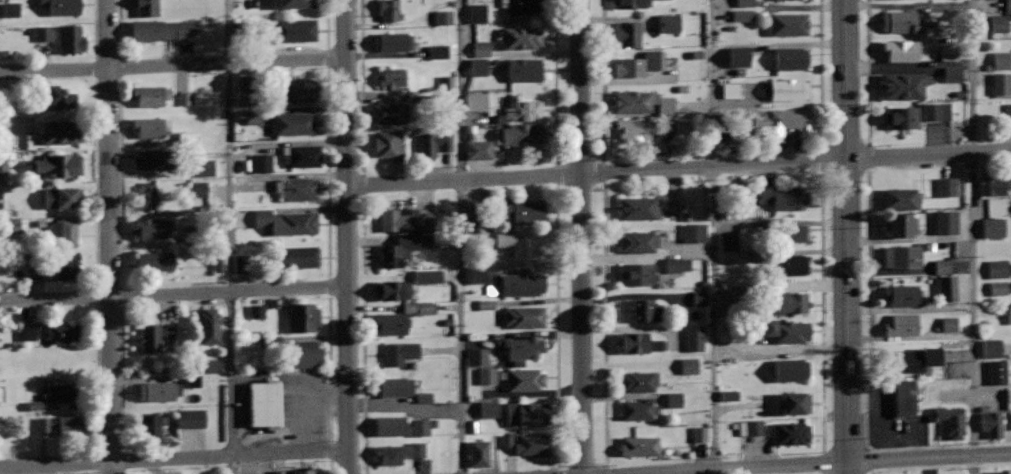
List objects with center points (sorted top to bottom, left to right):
building: (296, 3)
building: (628, 3)
building: (744, 3)
building: (1008, 5)
building: (146, 6)
building: (521, 6)
building: (63, 7)
building: (388, 9)
building: (10, 10)
building: (476, 13)
building: (742, 15)
building: (442, 18)
building: (901, 21)
building: (788, 23)
road: (325, 24)
building: (668, 24)
building: (998, 24)
road: (116, 28)
building: (164, 28)
road: (93, 29)
building: (295, 29)
building: (39, 33)
building: (628, 33)
building: (519, 37)
building: (72, 38)
building: (393, 41)
building: (480, 49)
building: (901, 49)
building: (437, 51)
building: (948, 53)
building: (738, 57)
building: (791, 58)
building: (1001, 60)
building: (640, 63)
road: (171, 65)
building: (477, 67)
building: (524, 69)
road: (866, 71)
road: (817, 72)
building: (951, 74)
building: (391, 77)
road: (601, 80)
road: (553, 82)
building: (446, 83)
building: (1001, 84)
building: (903, 86)
road: (360, 87)
building: (294, 88)
building: (789, 89)
building: (247, 90)
building: (730, 91)
building: (148, 94)
building: (60, 97)
building: (183, 99)
building: (641, 101)
building: (475, 102)
building: (522, 109)
building: (1008, 111)
building: (390, 112)
building: (934, 112)
building: (899, 117)
building: (253, 118)
building: (293, 122)
building: (785, 123)
building: (148, 125)
building: (633, 129)
building: (61, 131)
building: (518, 133)
building: (186, 138)
building: (389, 143)
building: (433, 144)
building: (477, 150)
building: (302, 155)
building: (153, 159)
building: (3, 163)
building: (261, 163)
building: (60, 164)
road: (677, 167)
building: (204, 168)
road: (325, 171)
road: (95, 181)
road: (119, 181)
building: (946, 187)
building: (991, 187)
building: (295, 188)
building: (197, 190)
building: (144, 195)
building: (60, 196)
building: (783, 197)
building: (901, 198)
building: (639, 208)
building: (523, 211)
building: (406, 218)
building: (285, 221)
building: (945, 222)
building: (901, 224)
building: (11, 226)
building: (150, 227)
road: (231, 227)
building: (992, 228)
building: (63, 231)
building: (794, 232)
building: (693, 233)
road: (106, 236)
road: (344, 236)
road: (715, 236)
road: (846, 236)
road: (461, 237)
road: (581, 237)
road: (972, 237)
building: (638, 240)
building: (728, 242)
building: (515, 244)
building: (403, 248)
building: (902, 256)
building: (295, 257)
building: (154, 262)
building: (240, 264)
building: (792, 264)
building: (216, 265)
building: (677, 265)
building: (66, 266)
building: (941, 267)
building: (997, 269)
building: (32, 270)
building: (637, 273)
building: (476, 275)
building: (427, 276)
building: (521, 283)
building: (998, 288)
building: (393, 289)
building: (947, 289)
road: (172, 293)
building: (903, 295)
building: (700, 299)
building: (790, 303)
building: (486, 305)
building: (418, 308)
building: (646, 310)
building: (256, 311)
road: (821, 311)
building: (1009, 315)
building: (302, 316)
building: (524, 316)
building: (391, 322)
building: (210, 324)
building: (902, 324)
building: (949, 324)
road: (603, 327)
road: (556, 328)
building: (786, 329)
building: (62, 332)
building: (28, 333)
building: (155, 334)
road: (362, 334)
building: (694, 339)
building: (641, 343)
building: (523, 347)
building: (289, 349)
building: (991, 349)
building: (400, 351)
building: (477, 357)
building: (914, 359)
building: (66, 360)
building: (211, 365)
building: (688, 366)
road: (328, 368)
building: (791, 370)
building: (996, 372)
building: (486, 376)
road: (96, 378)
road: (120, 378)
building: (525, 378)
building: (639, 380)
road: (865, 380)
building: (192, 382)
building: (396, 385)
building: (160, 390)
building: (63, 393)
building: (728, 396)
building: (423, 397)
building: (903, 398)
building: (1008, 398)
building: (673, 400)
building: (265, 402)
building: (794, 402)
building: (34, 406)
building: (639, 408)
building: (487, 410)
building: (528, 412)
building: (949, 418)
building: (190, 419)
building: (992, 423)
building: (149, 424)
building: (389, 424)
building: (68, 425)
building: (419, 428)
building: (749, 428)
building: (790, 432)
building: (699, 434)
building: (506, 441)
building: (532, 444)
building: (639, 446)
building: (398, 453)
building: (477, 454)
road: (172, 458)
road: (97, 463)
road: (121, 463)
road: (831, 463)
road: (232, 464)
road: (329, 466)
road: (938, 467)
building: (279, 471)
building: (303, 472)
building: (998, 472)
building: (252, 473)

